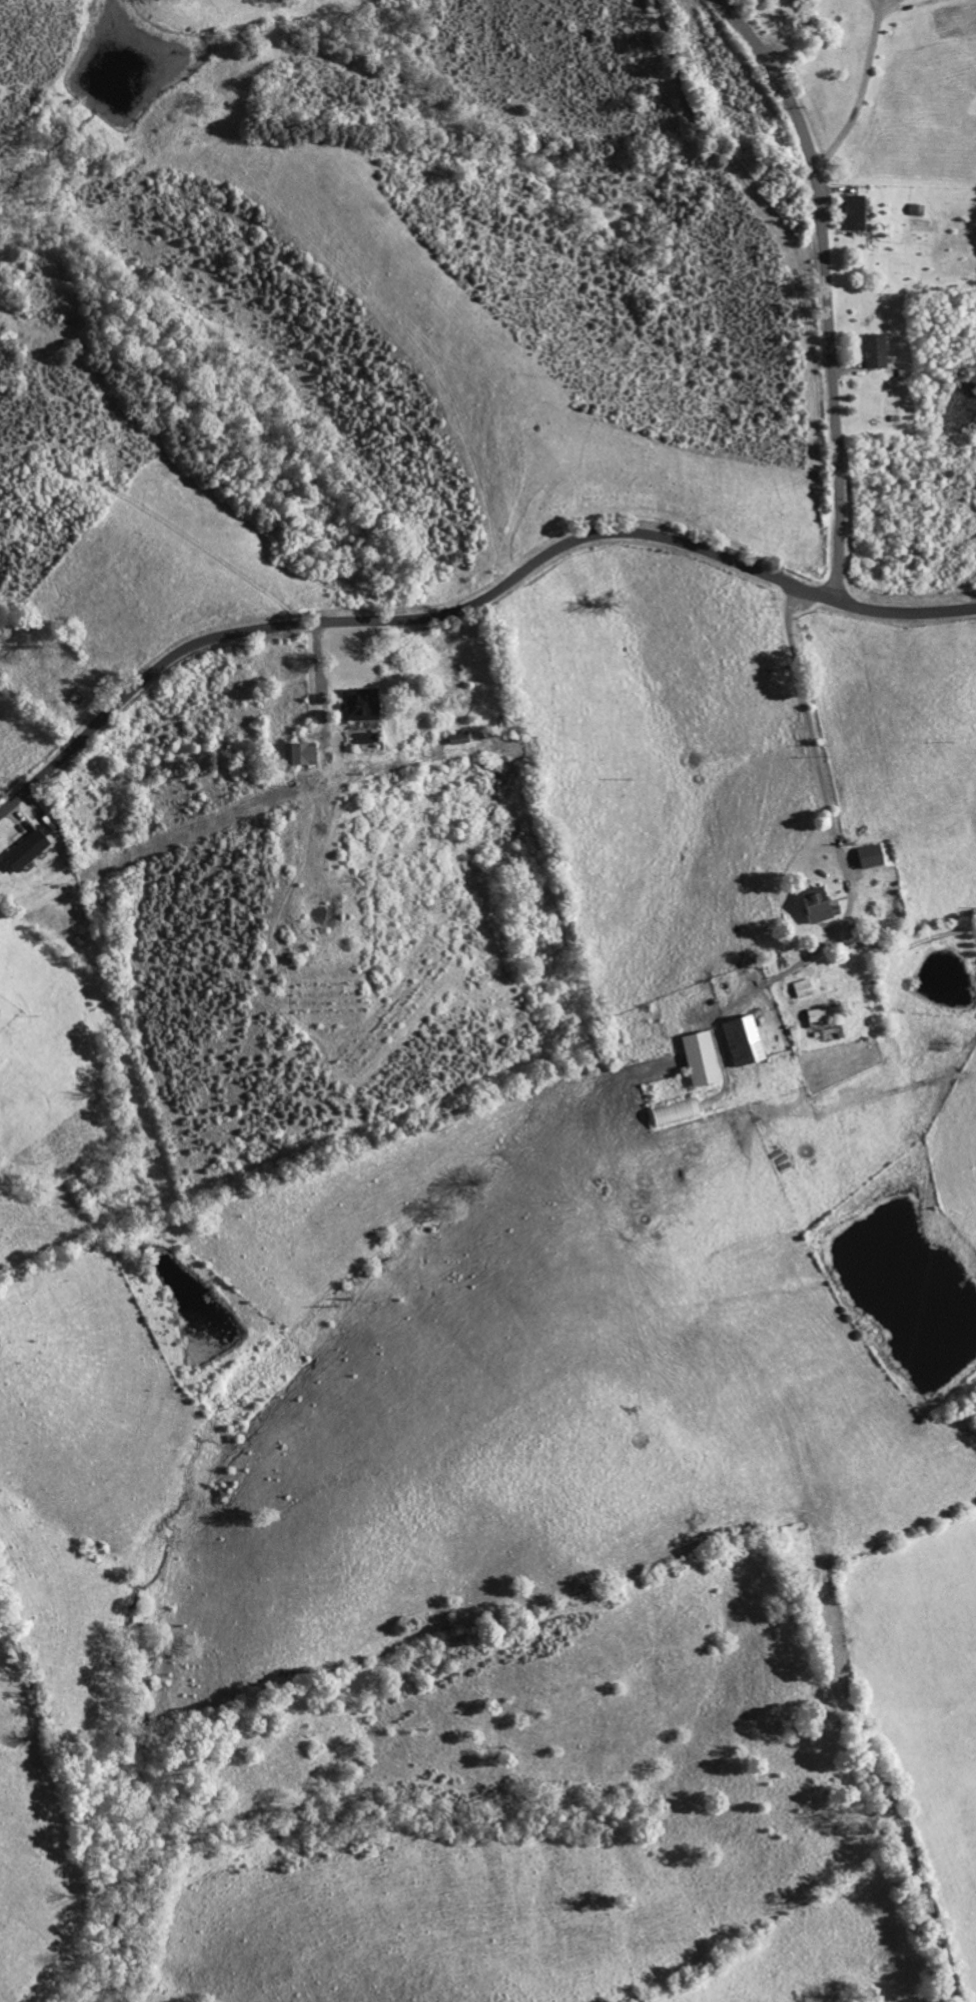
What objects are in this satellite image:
road: (861, 90)
building: (853, 214)
road: (827, 287)
building: (873, 352)
road: (469, 604)
building: (357, 706)
building: (296, 756)
building: (22, 853)
building: (867, 858)
building: (813, 907)
building: (800, 990)
building: (818, 1016)
building: (739, 1042)
building: (697, 1060)

